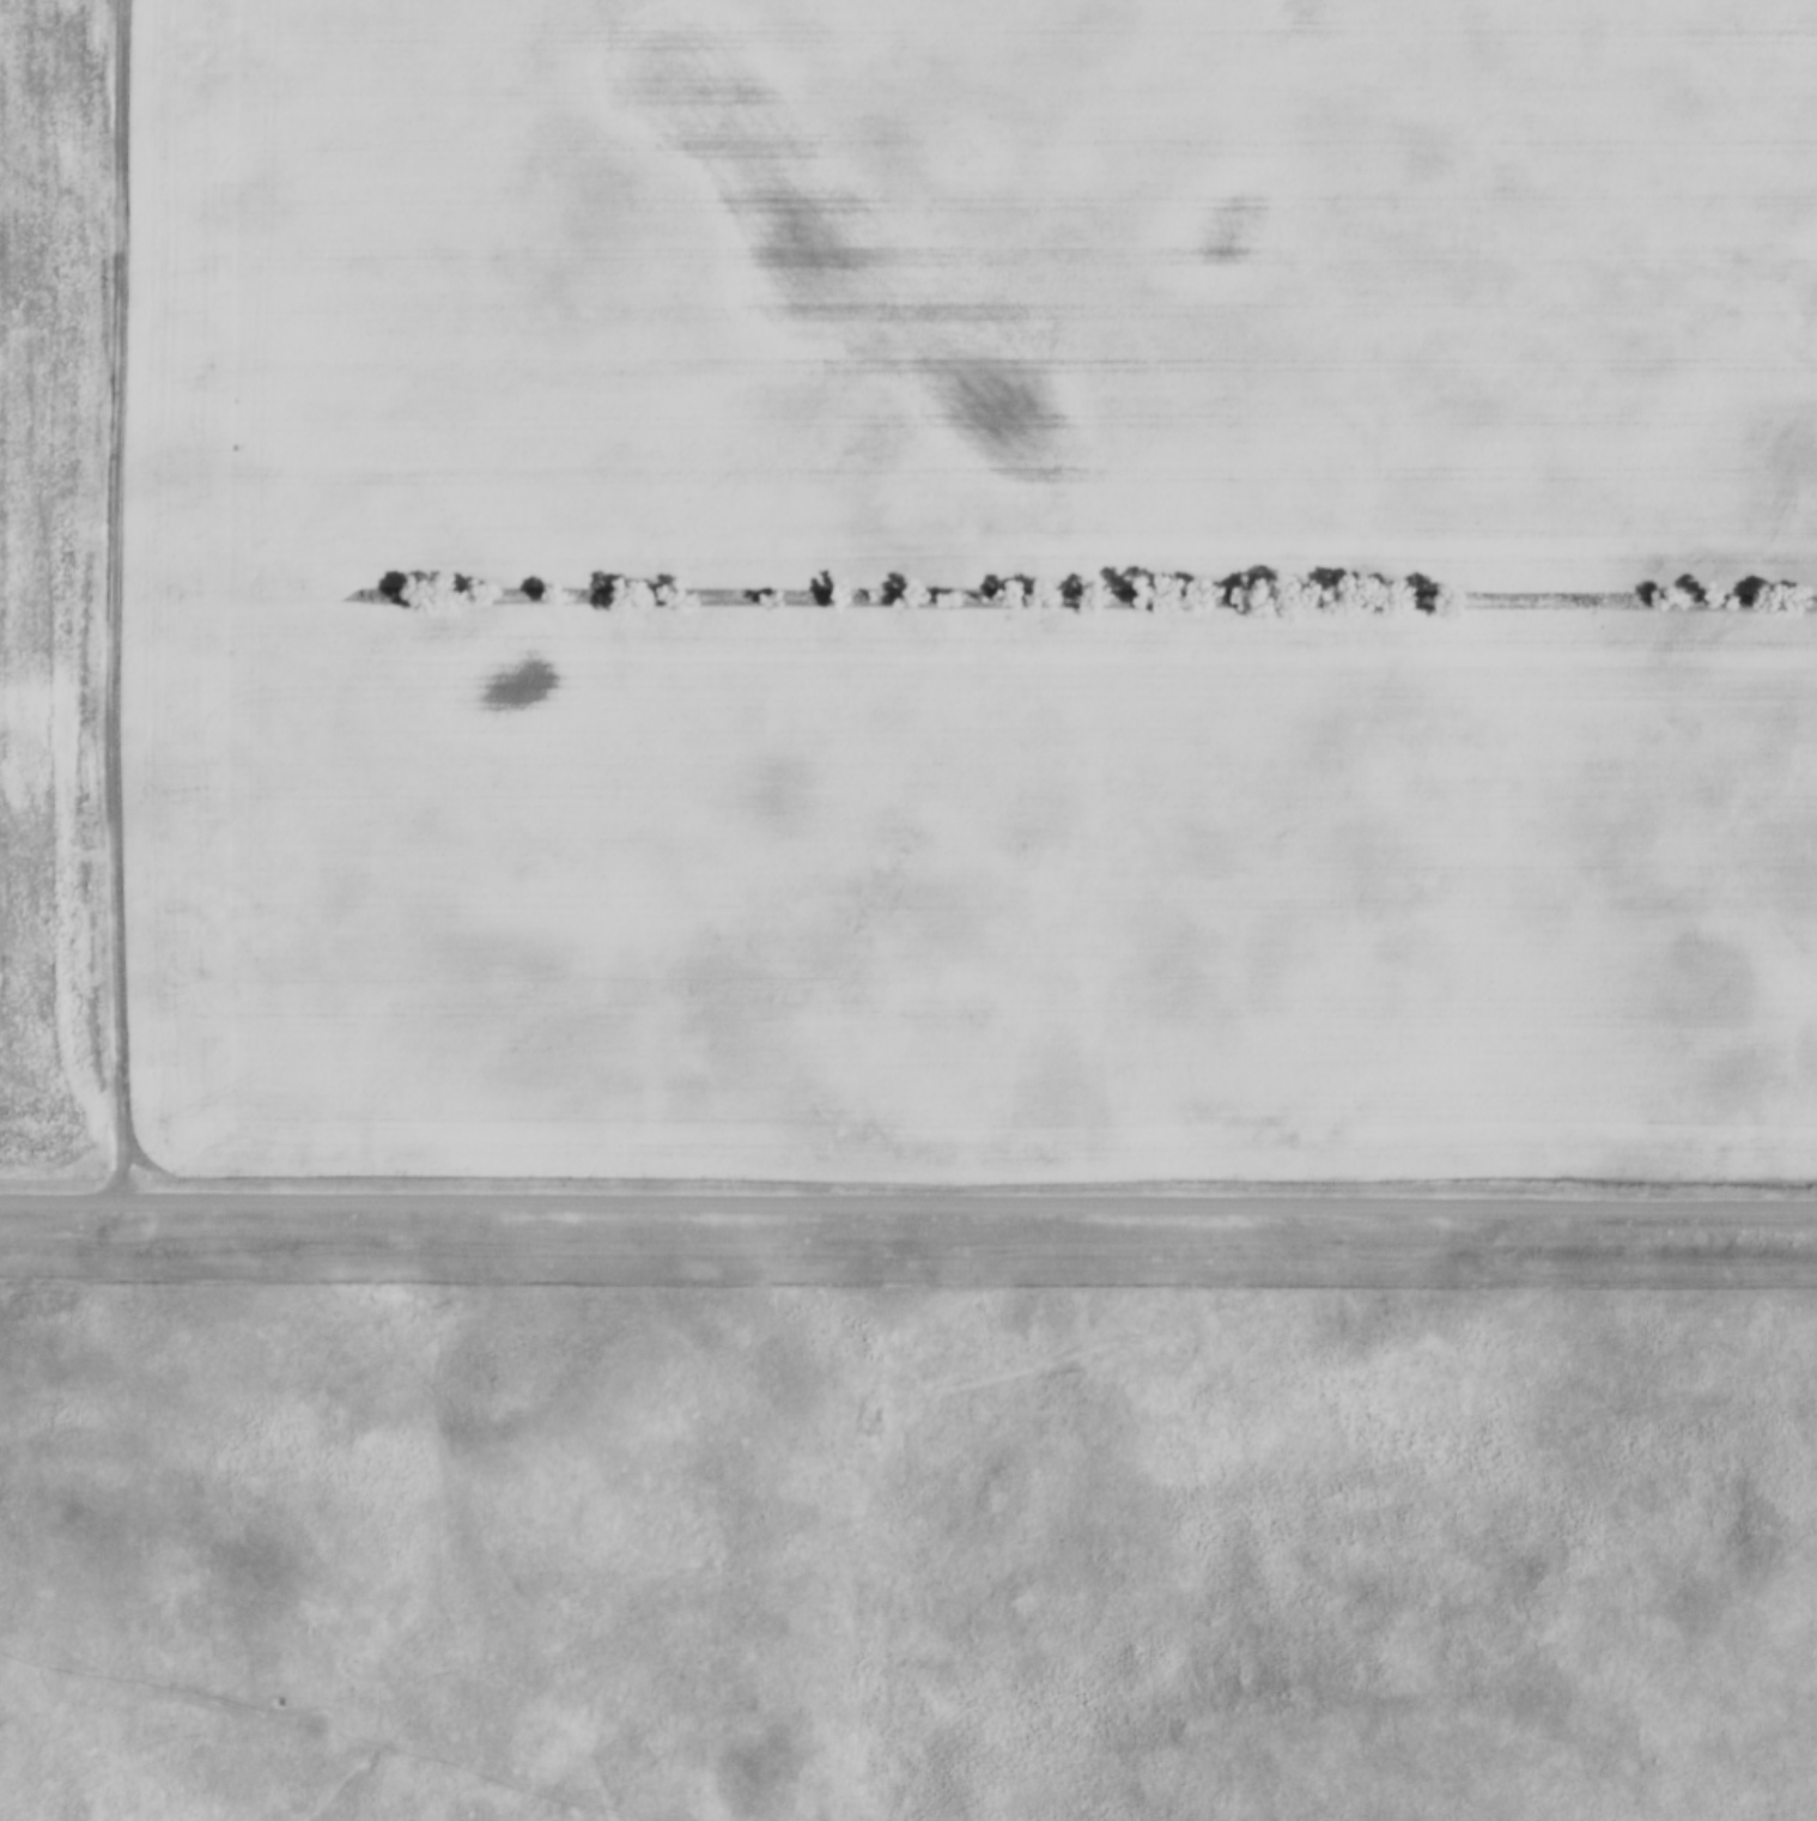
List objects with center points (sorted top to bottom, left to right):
road: (109, 601)
road: (908, 1204)

